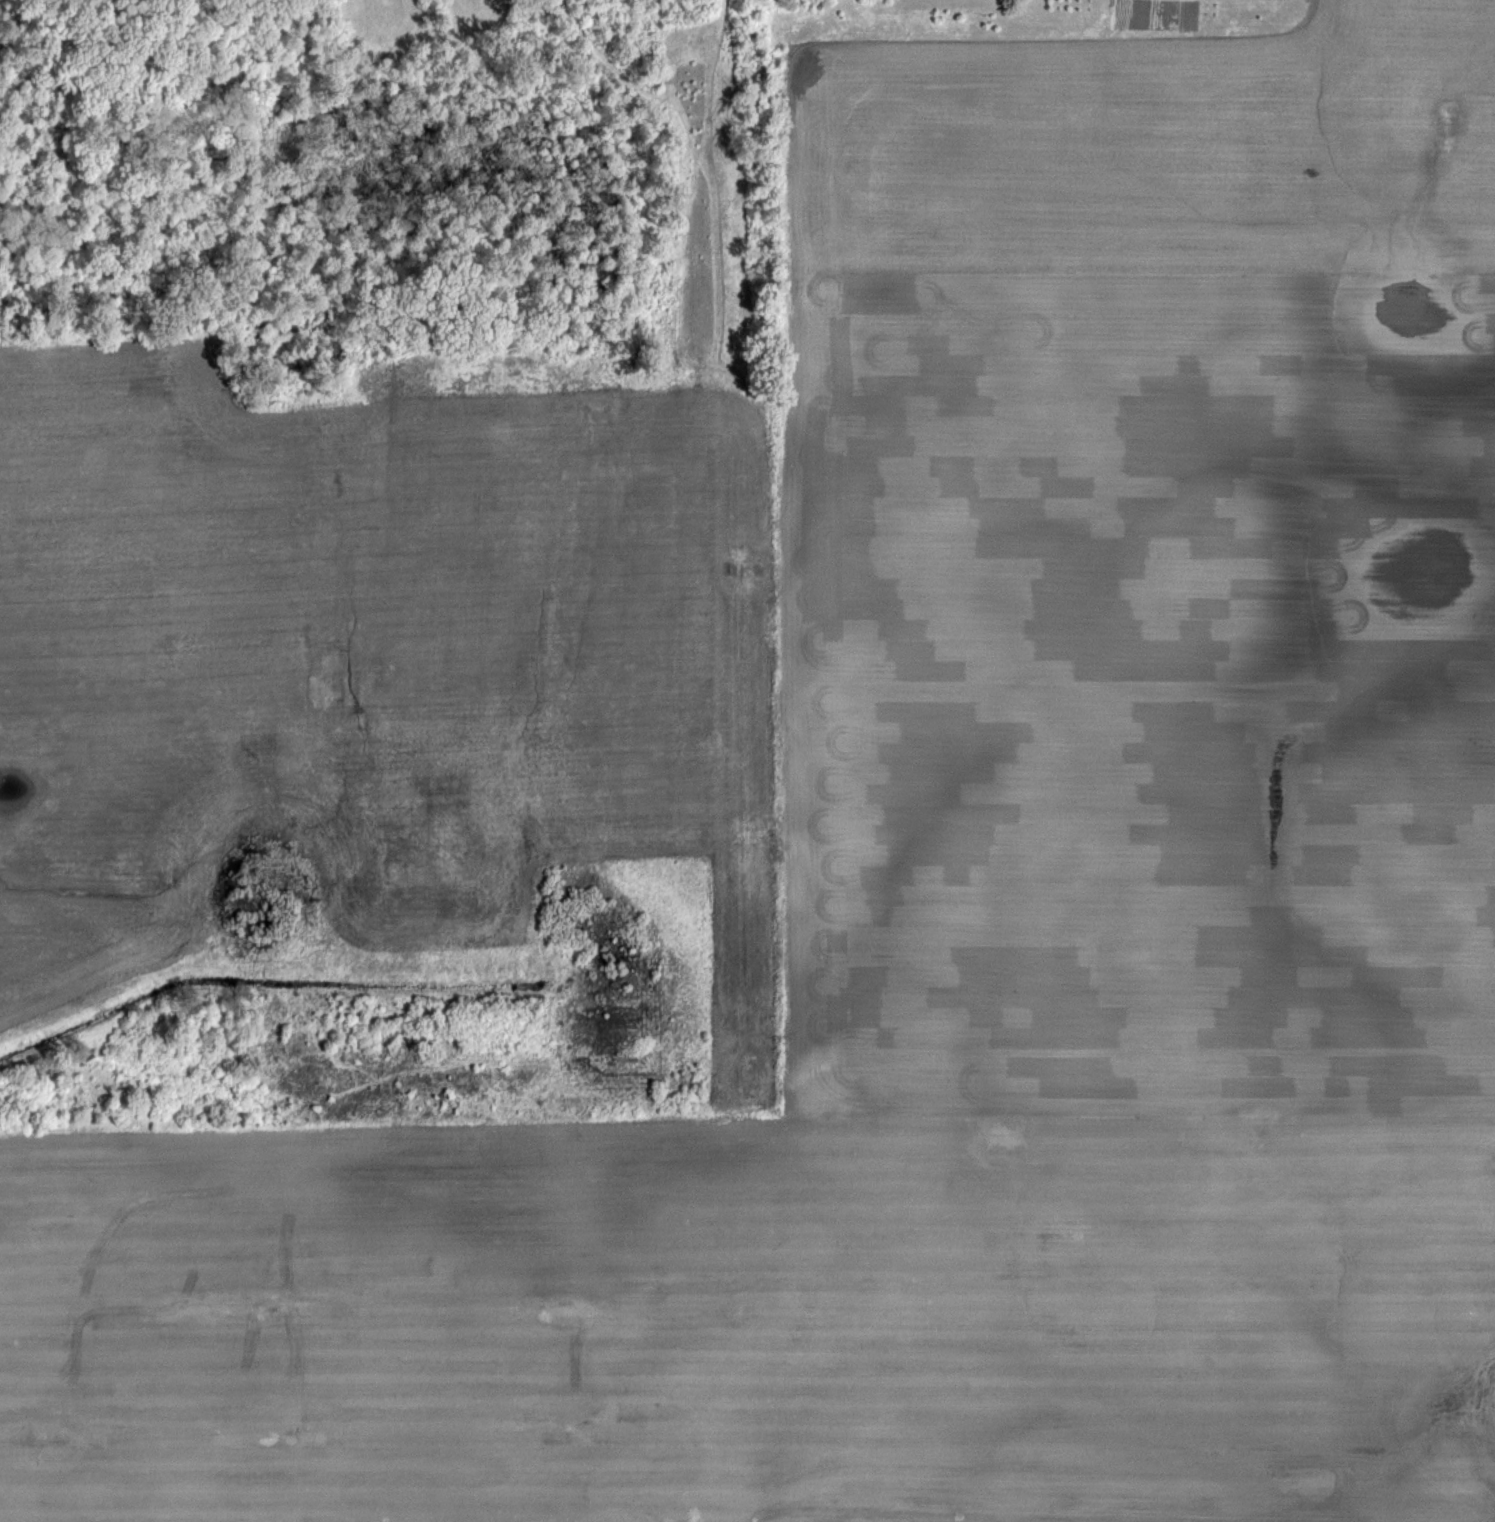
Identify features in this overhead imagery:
crop: (747, 761)

